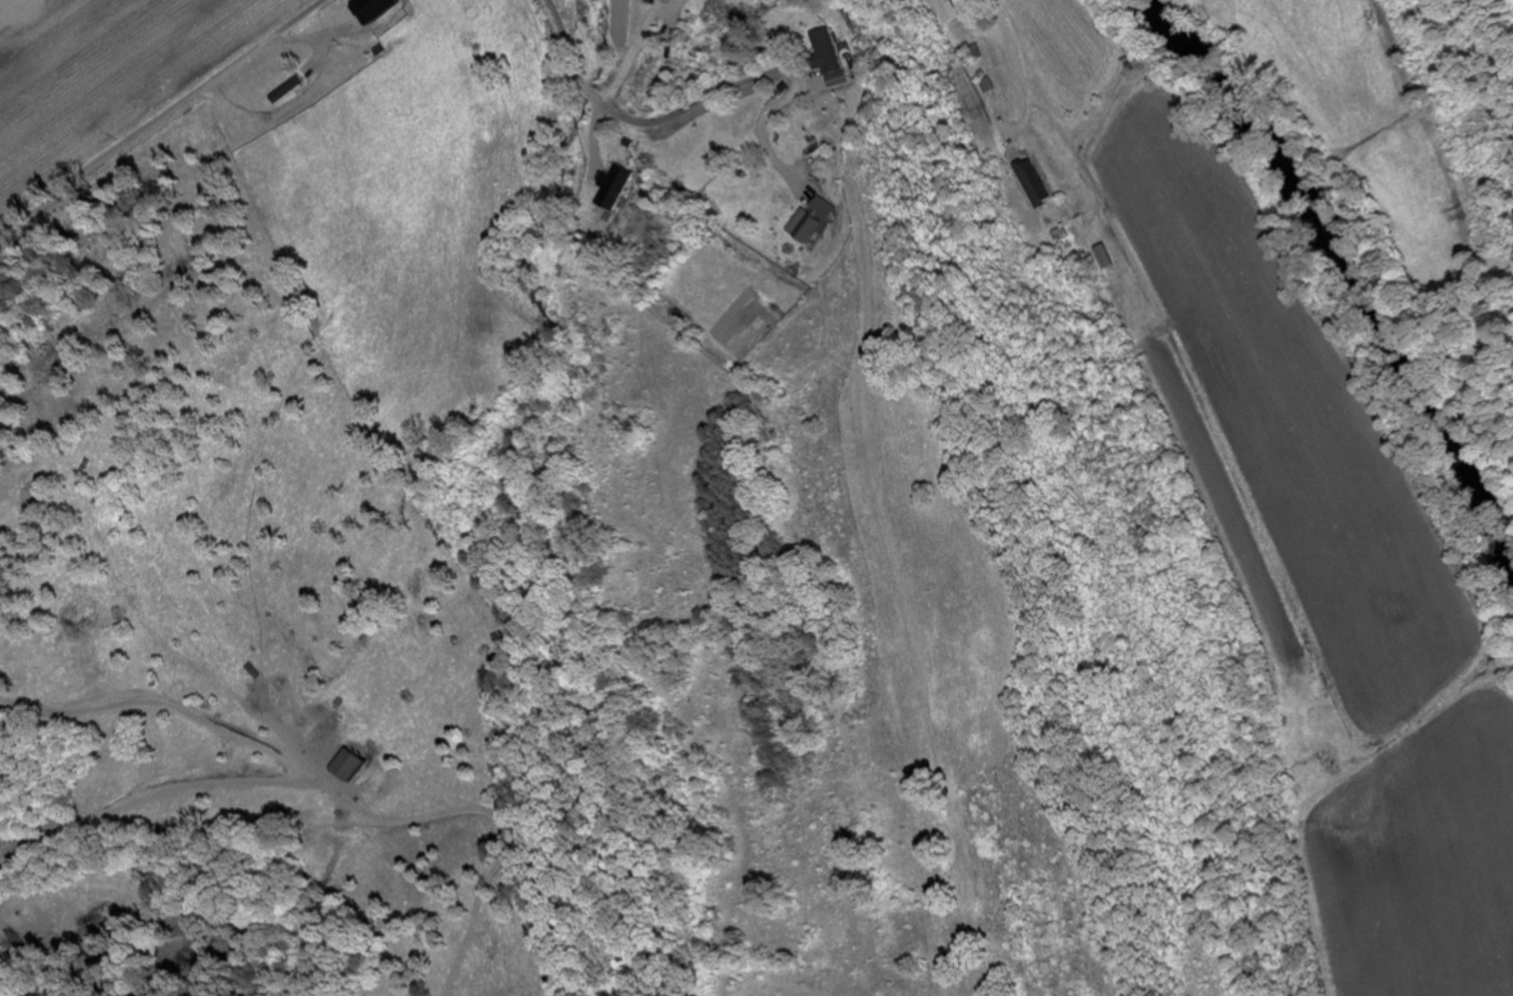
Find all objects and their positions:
building: (944, 11)
building: (829, 52)
building: (971, 54)
building: (645, 79)
road: (162, 117)
road: (644, 123)
building: (1033, 185)
building: (612, 190)
building: (804, 230)

